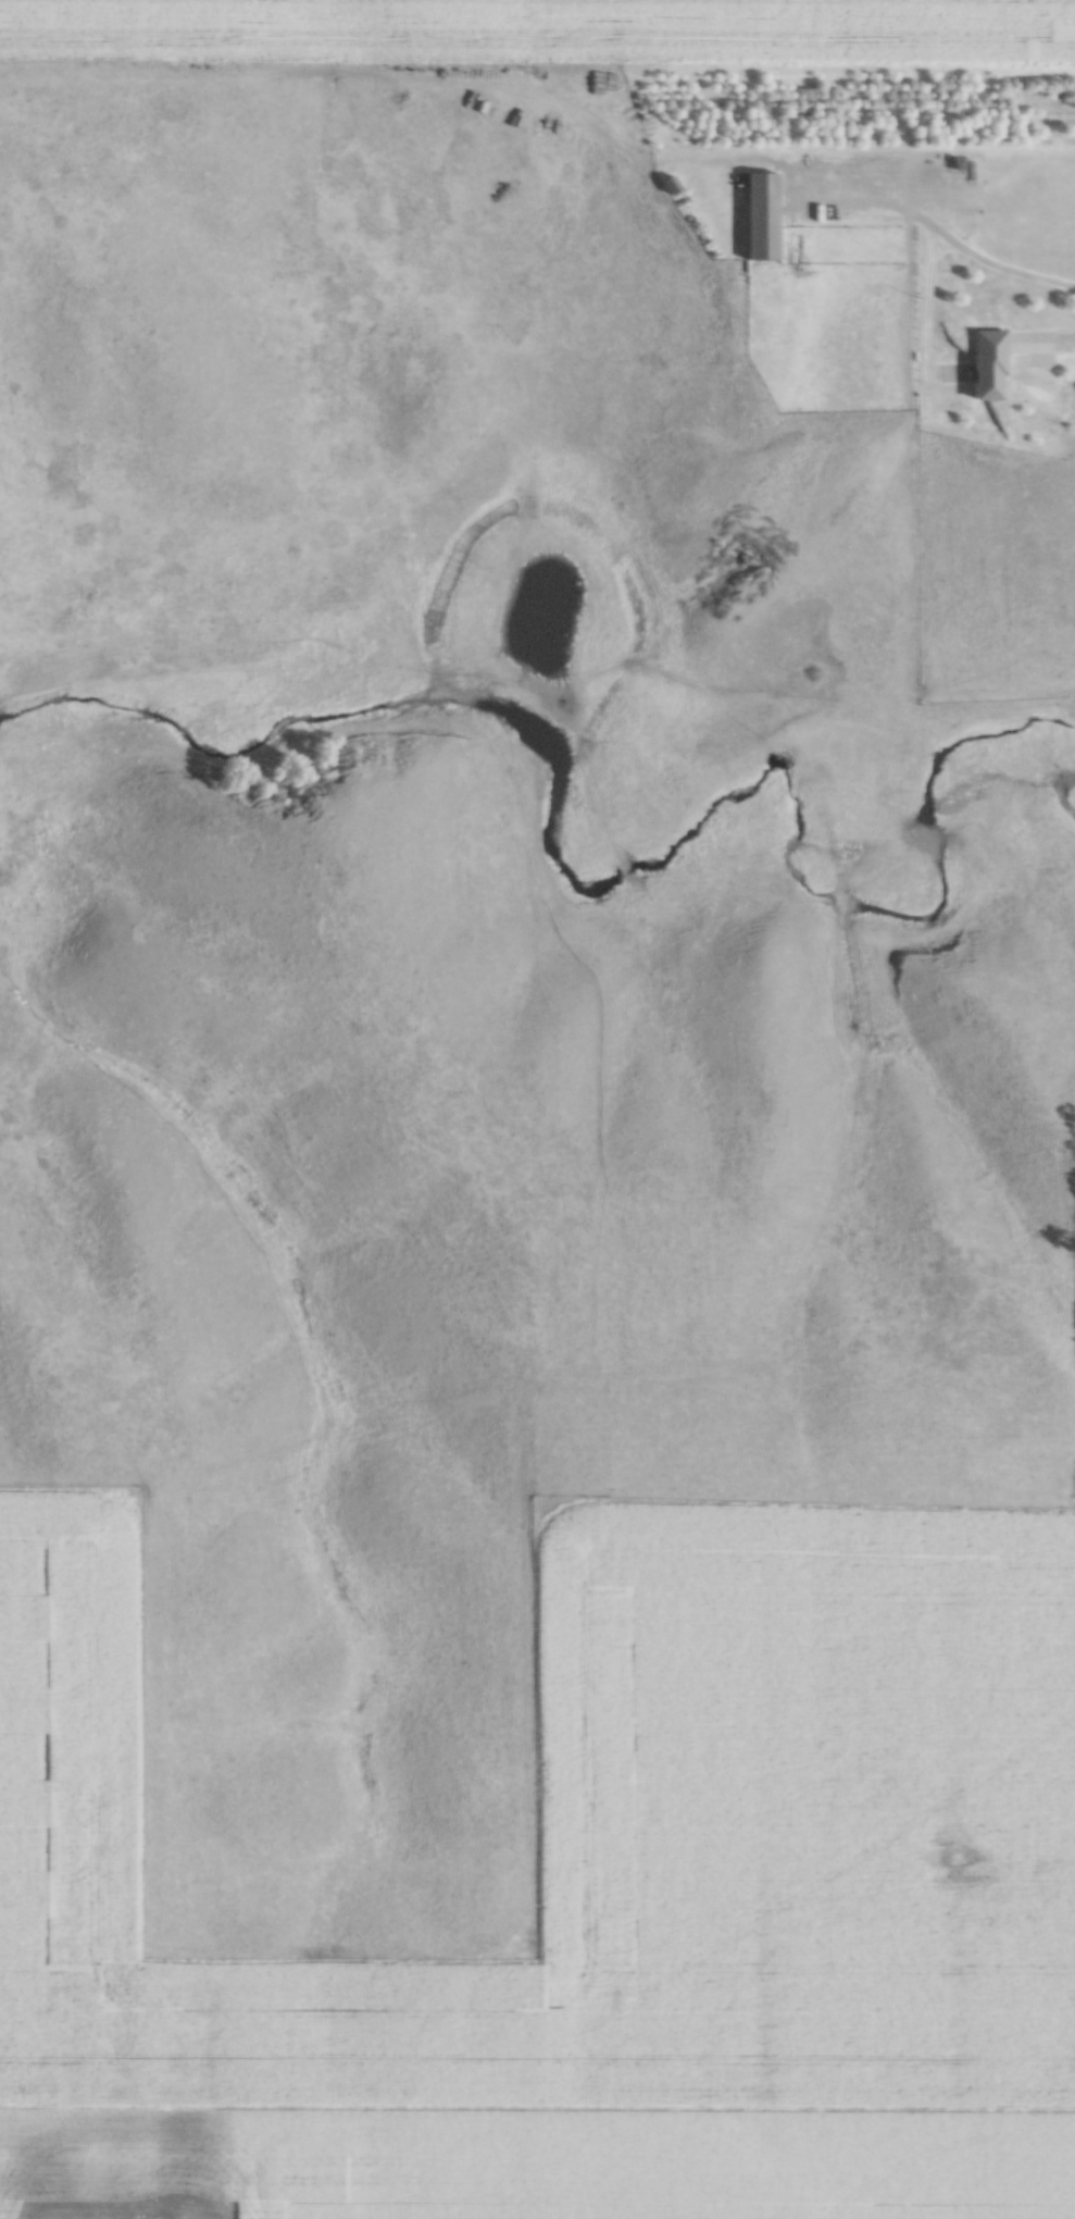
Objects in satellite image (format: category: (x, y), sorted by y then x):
building: (671, 186)
building: (762, 218)
road: (1046, 337)
building: (988, 383)

